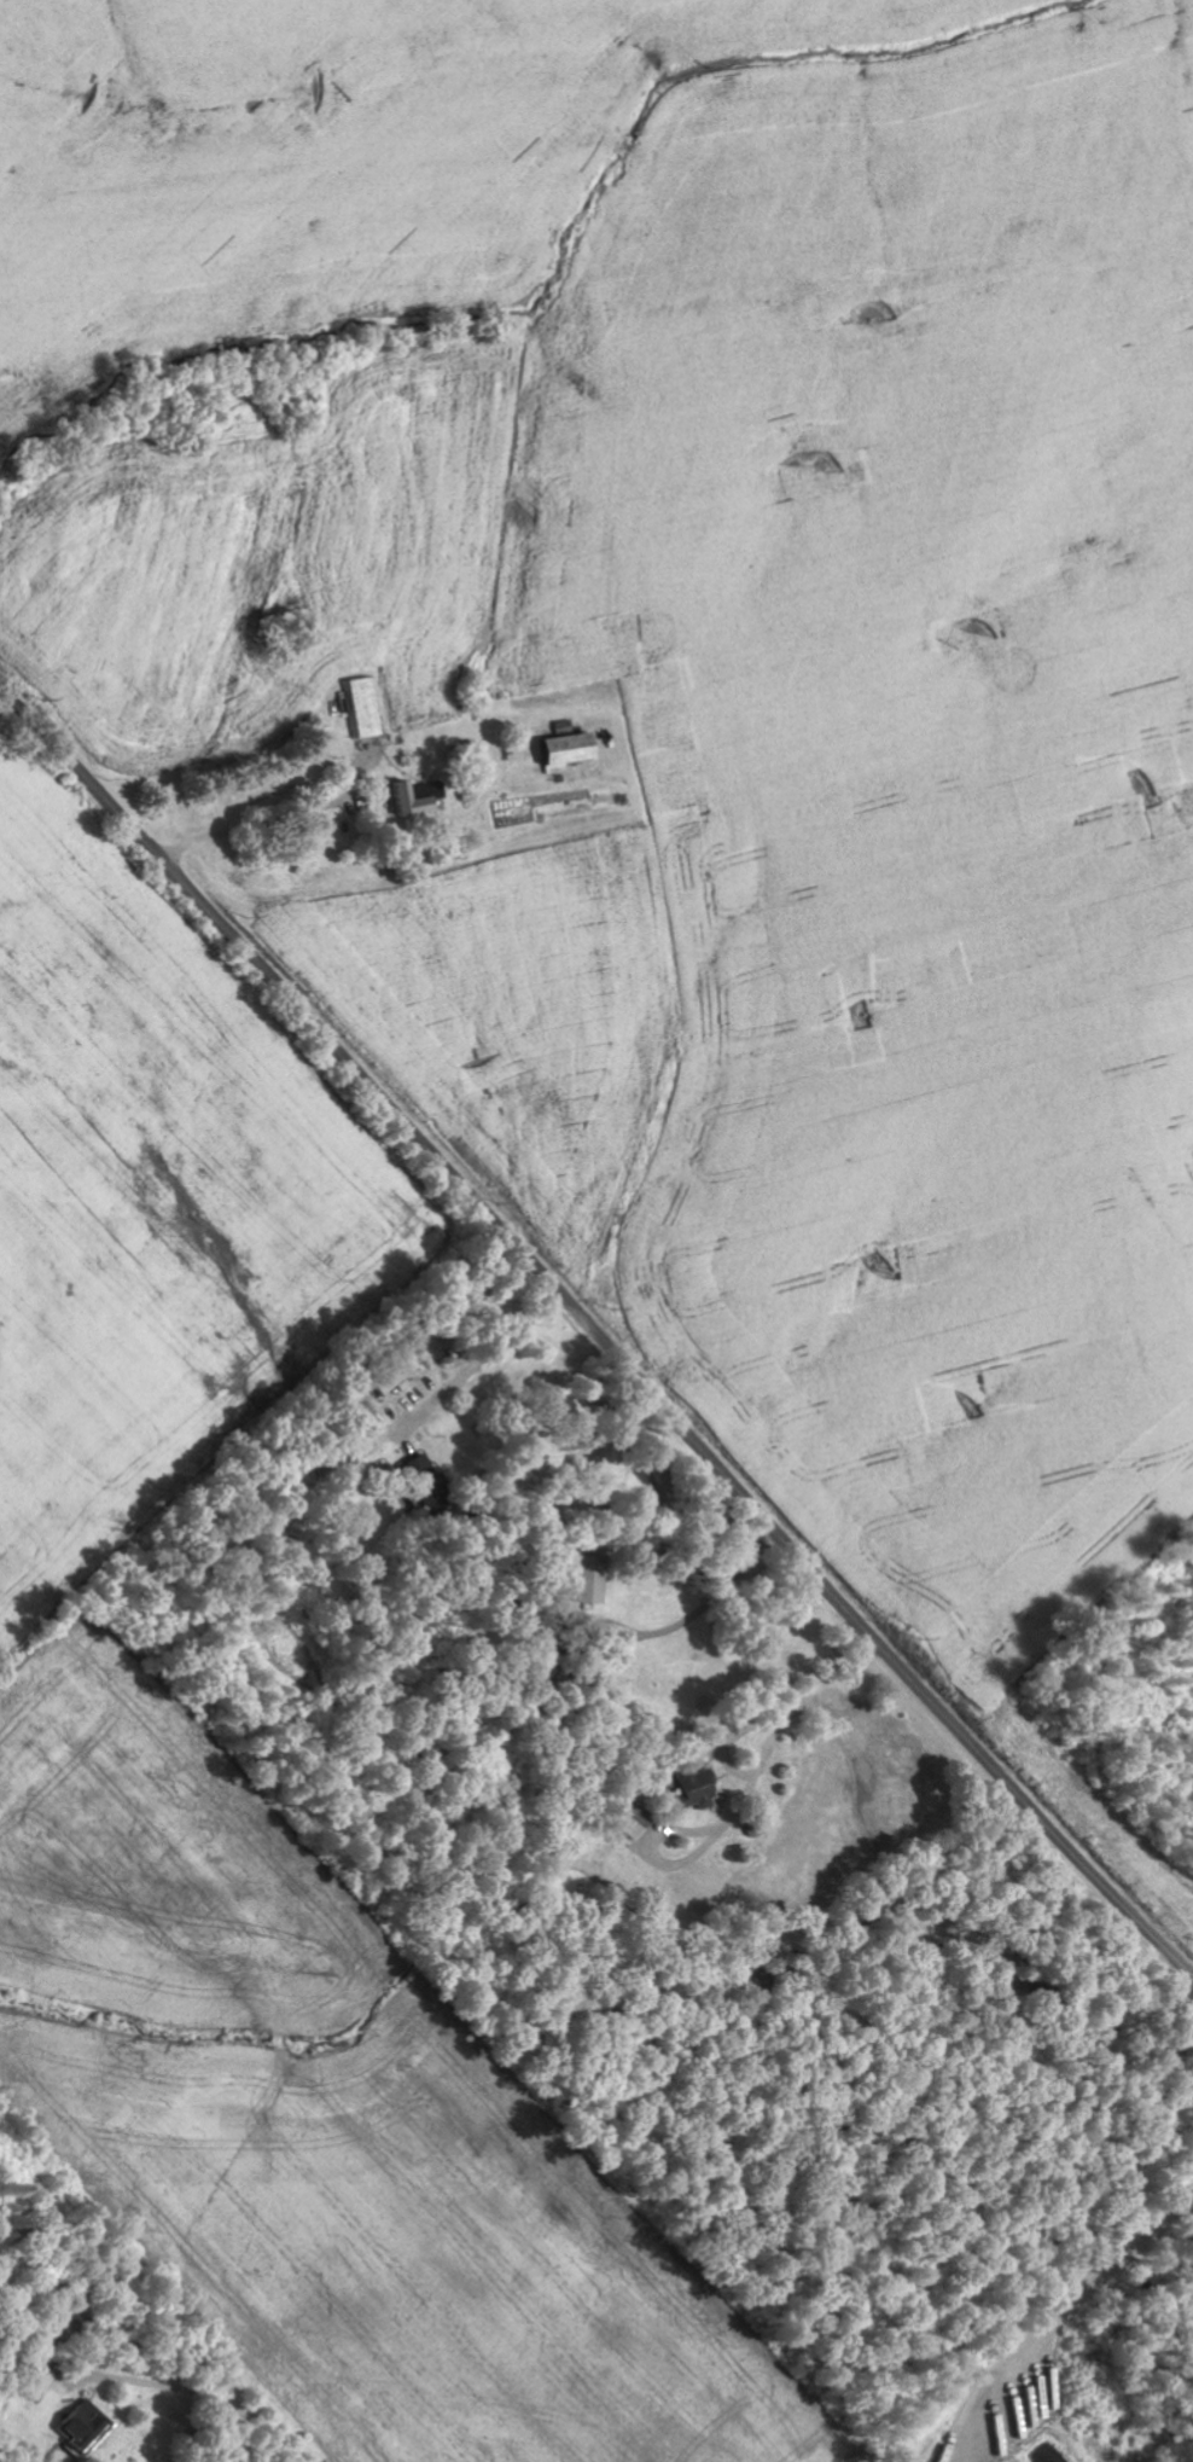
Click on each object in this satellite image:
building: (366, 709)
building: (574, 753)
road: (595, 1332)
building: (398, 1377)
building: (592, 1578)
building: (699, 1788)
road: (982, 2156)
building: (89, 2427)

